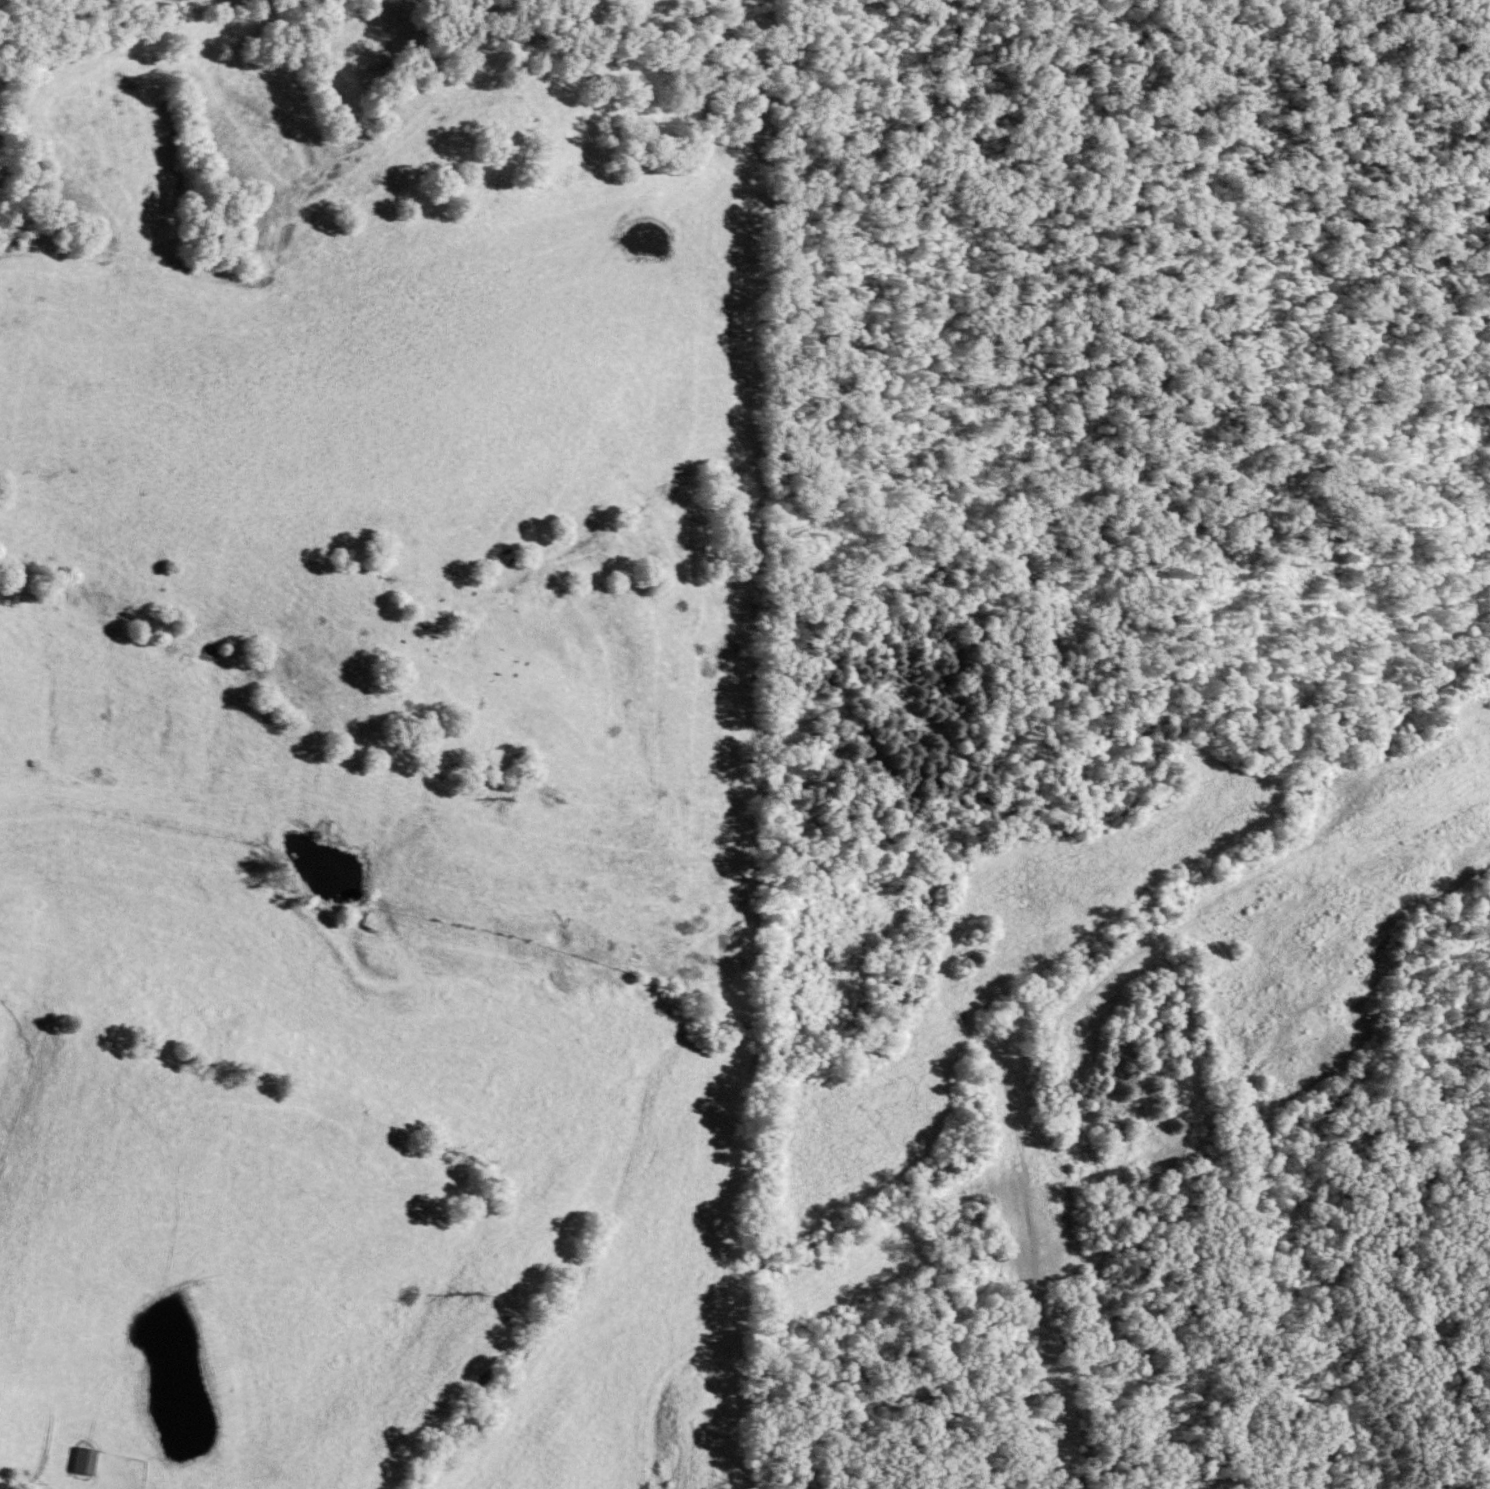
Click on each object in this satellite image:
building: (93, 1460)

